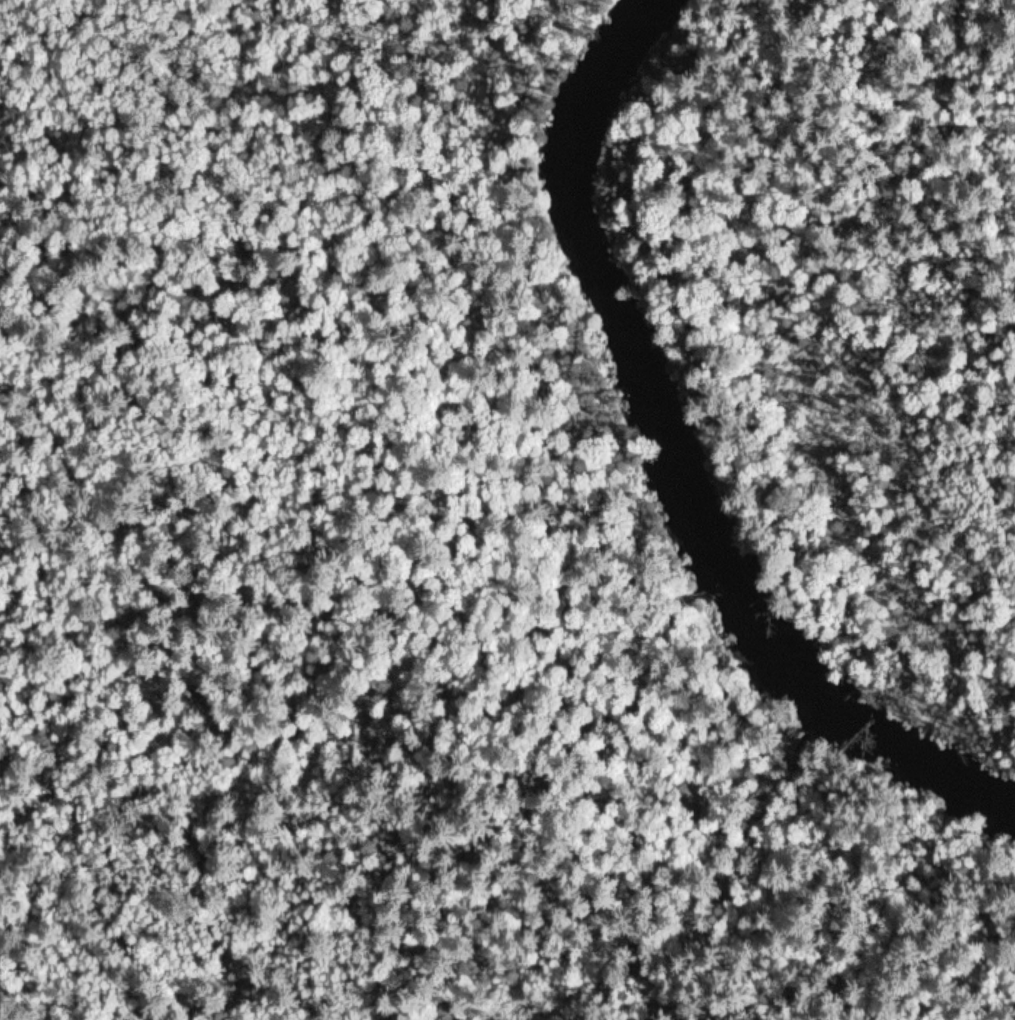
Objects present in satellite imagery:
river: (693, 452)

